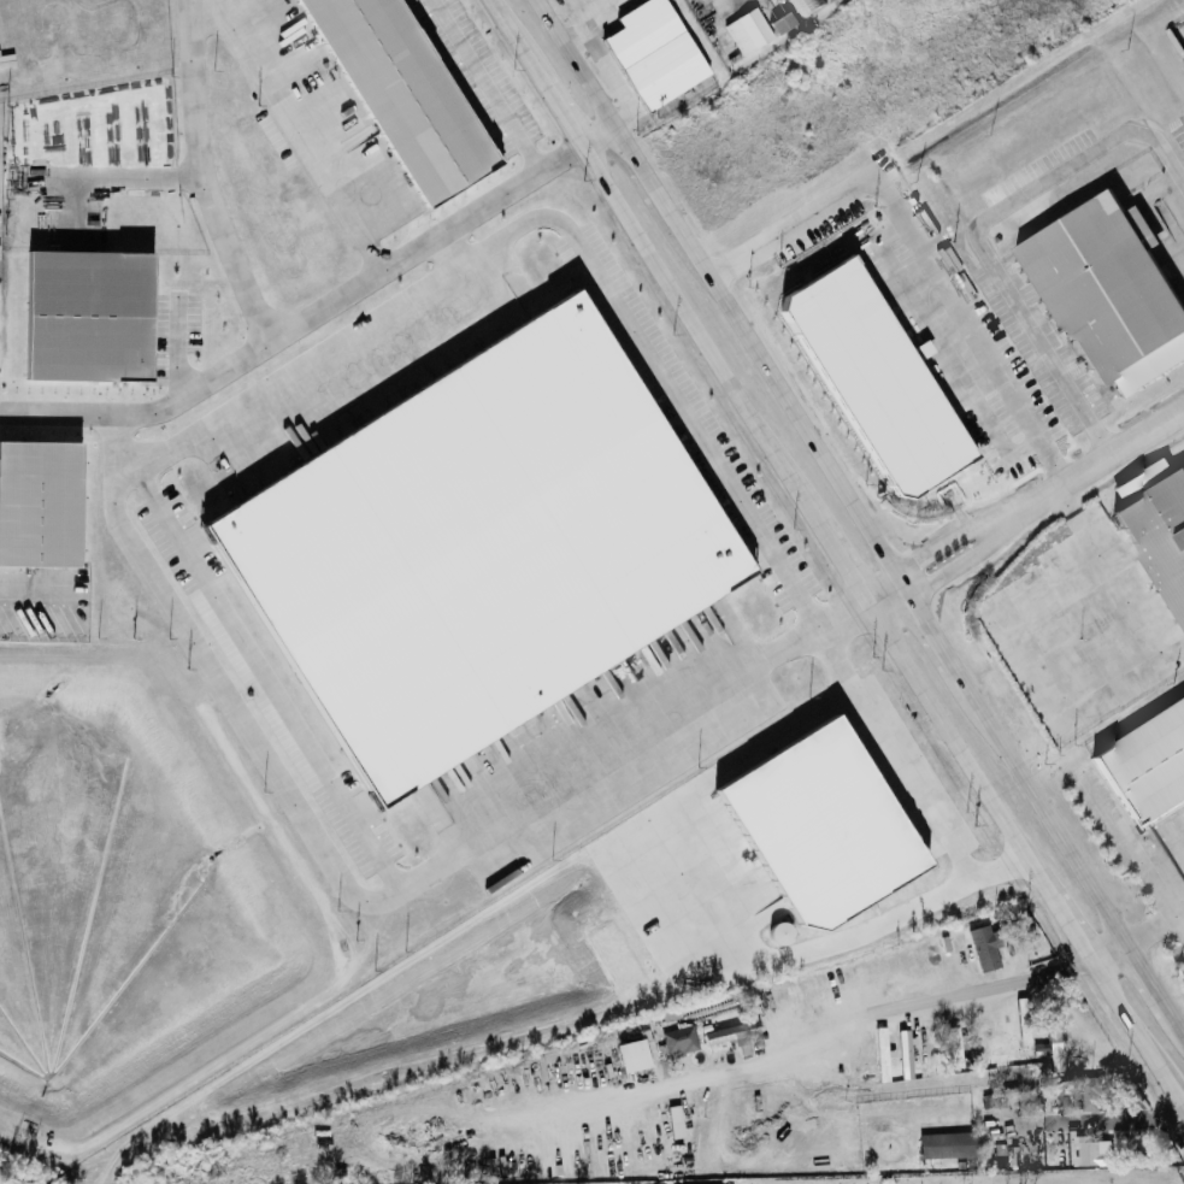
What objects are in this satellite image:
building: (802, 5)
road: (725, 6)
building: (784, 25)
building: (749, 34)
road: (576, 43)
road: (594, 53)
building: (656, 54)
road: (489, 84)
building: (390, 94)
road: (299, 135)
road: (600, 136)
road: (113, 173)
road: (76, 207)
road: (546, 228)
road: (977, 230)
road: (930, 248)
road: (448, 254)
road: (654, 261)
road: (719, 289)
building: (1105, 293)
building: (79, 317)
road: (277, 332)
road: (177, 346)
building: (862, 381)
road: (146, 411)
road: (1088, 467)
building: (39, 500)
building: (1156, 532)
road: (937, 546)
building: (461, 550)
road: (843, 564)
road: (952, 567)
road: (1114, 581)
road: (34, 590)
road: (884, 593)
building: (1159, 668)
road: (264, 684)
road: (1013, 762)
building: (1142, 766)
road: (979, 779)
road: (908, 781)
road: (1137, 854)
road: (703, 897)
road: (372, 911)
road: (1154, 926)
building: (979, 950)
road: (1145, 977)
road: (900, 1018)
road: (1176, 1021)
road: (1137, 1027)
building: (729, 1035)
building: (976, 1039)
building: (676, 1042)
building: (1050, 1049)
building: (626, 1058)
building: (900, 1061)
building: (894, 1109)
road: (1015, 1121)
road: (1114, 1121)
building: (671, 1123)
building: (946, 1147)
building: (1089, 1153)

